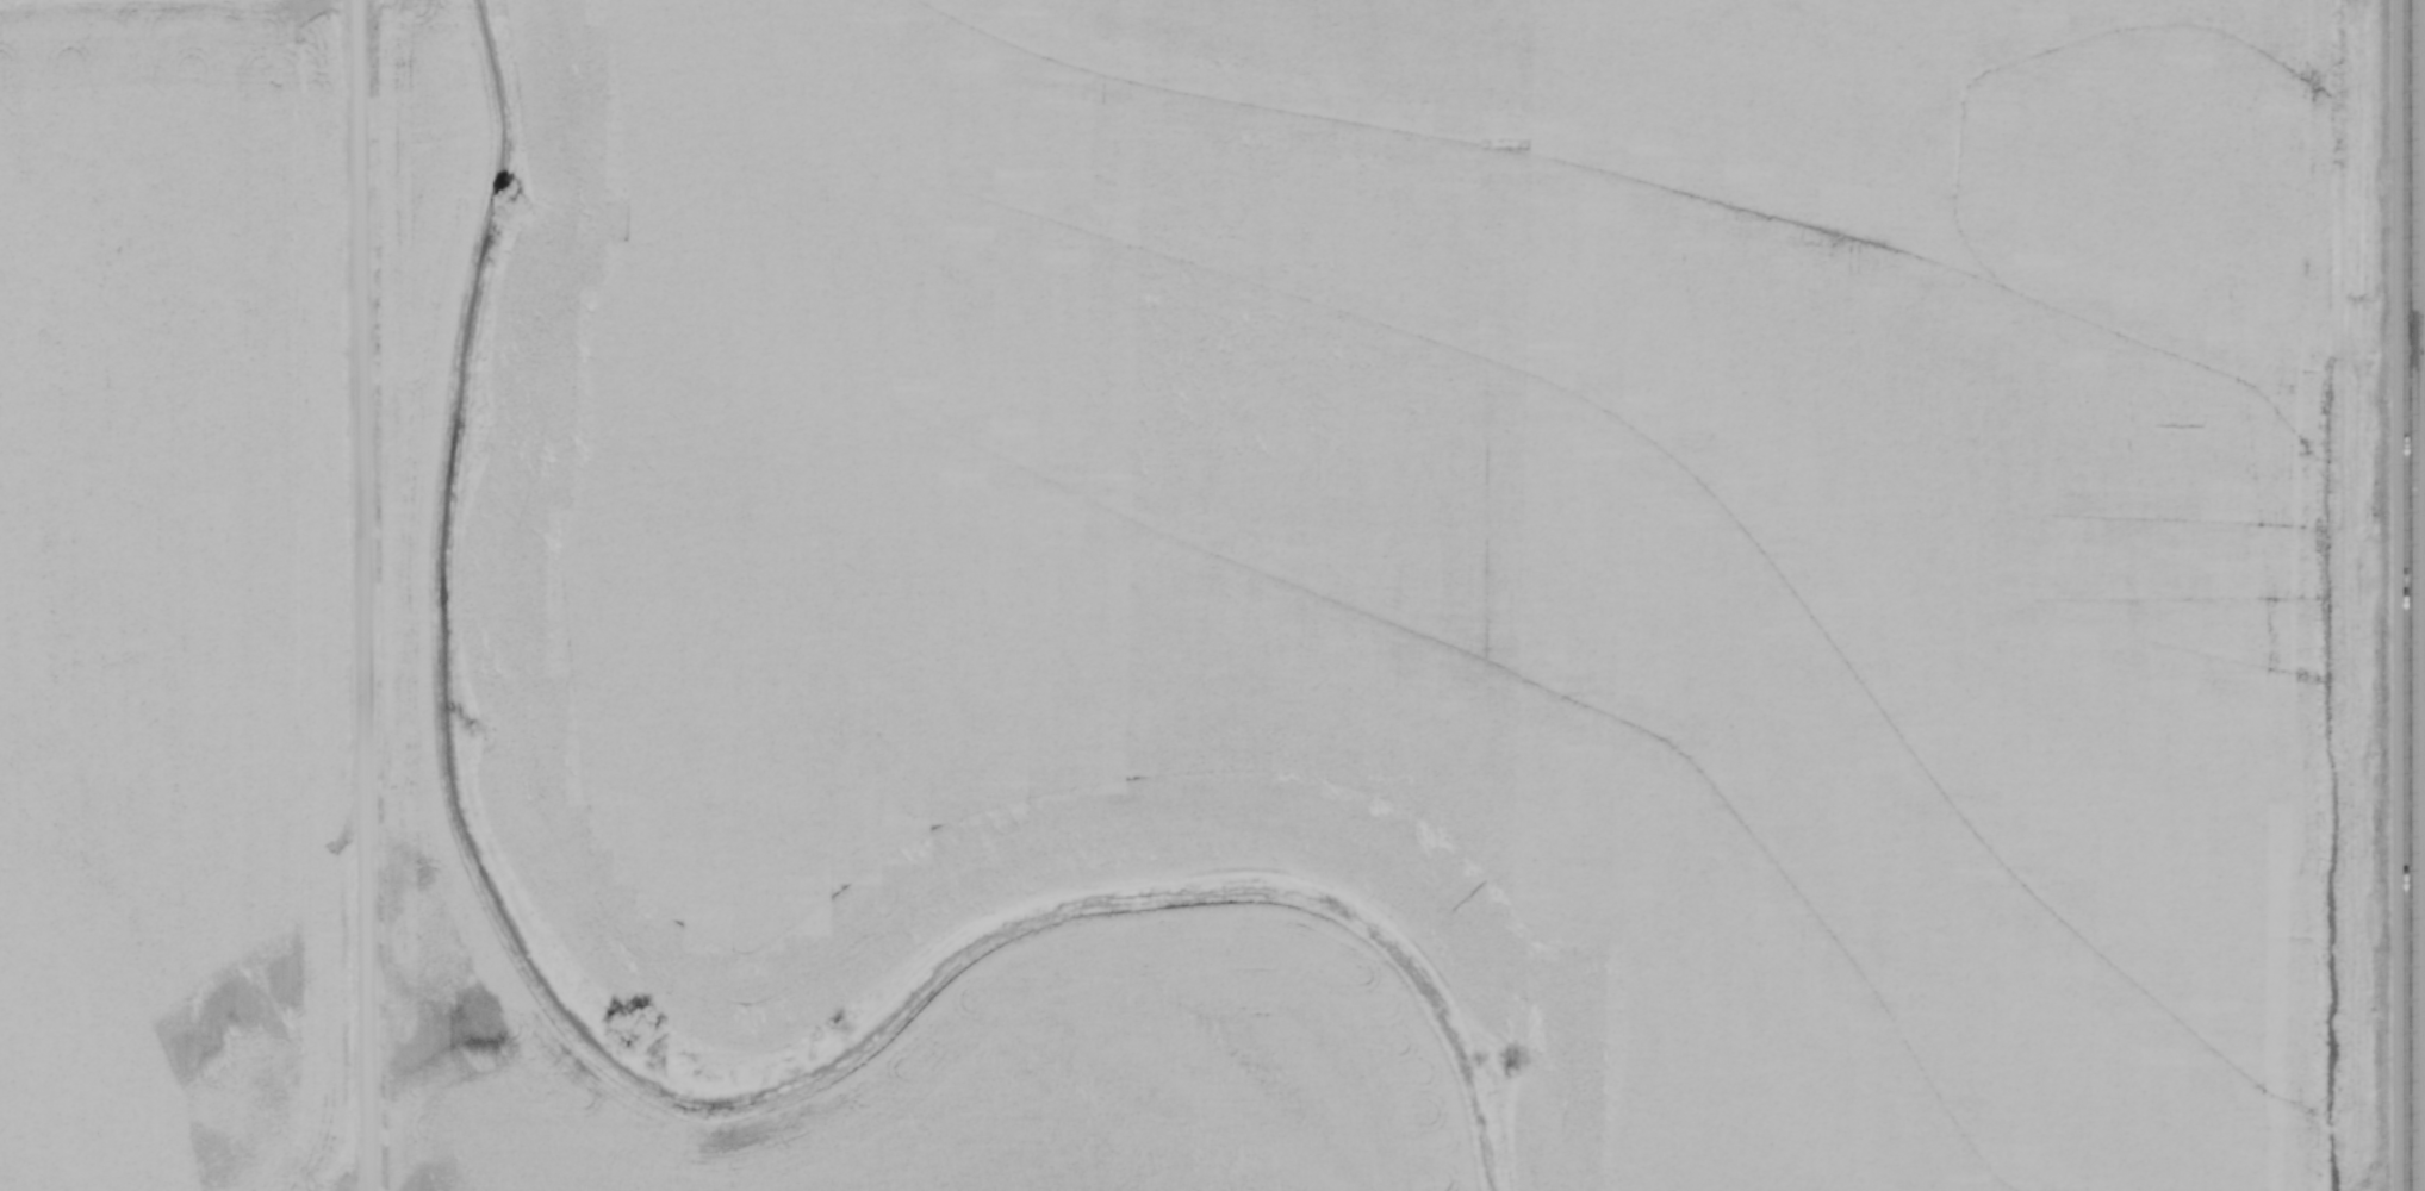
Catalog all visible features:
road: (363, 595)
road: (2411, 595)
crop: (1388, 599)

